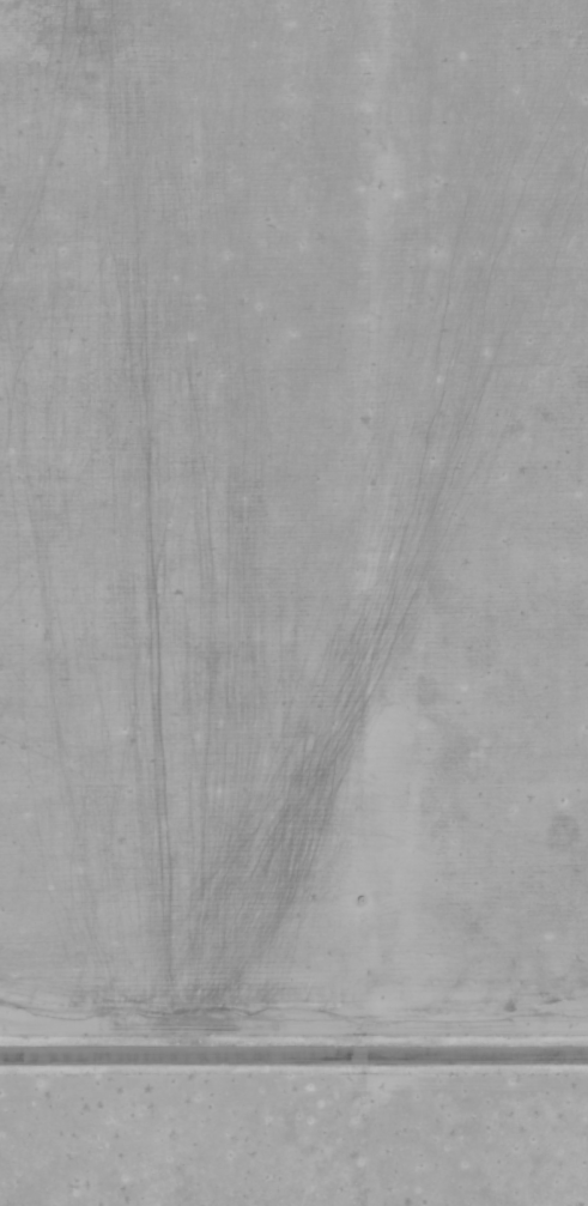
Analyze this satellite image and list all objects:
road: (293, 1052)

